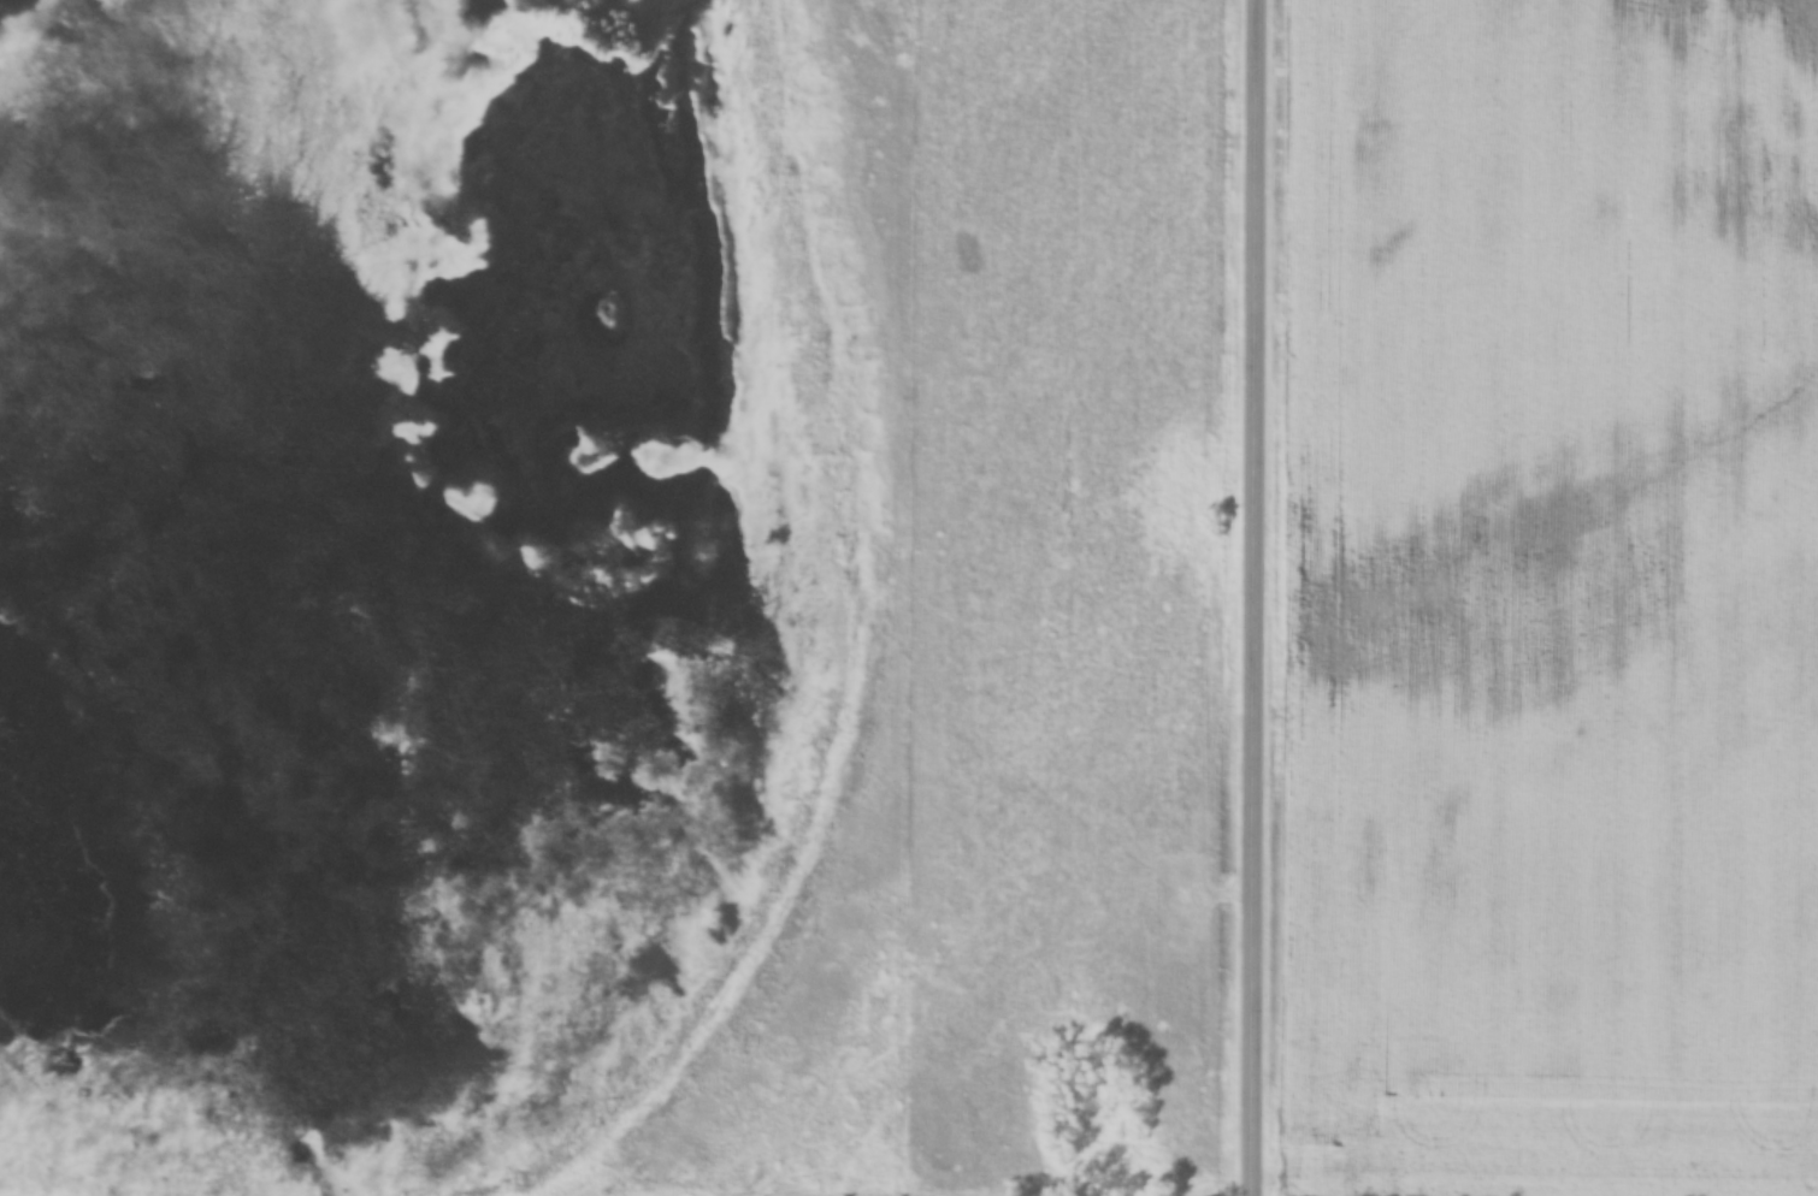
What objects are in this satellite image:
road: (1256, 598)

